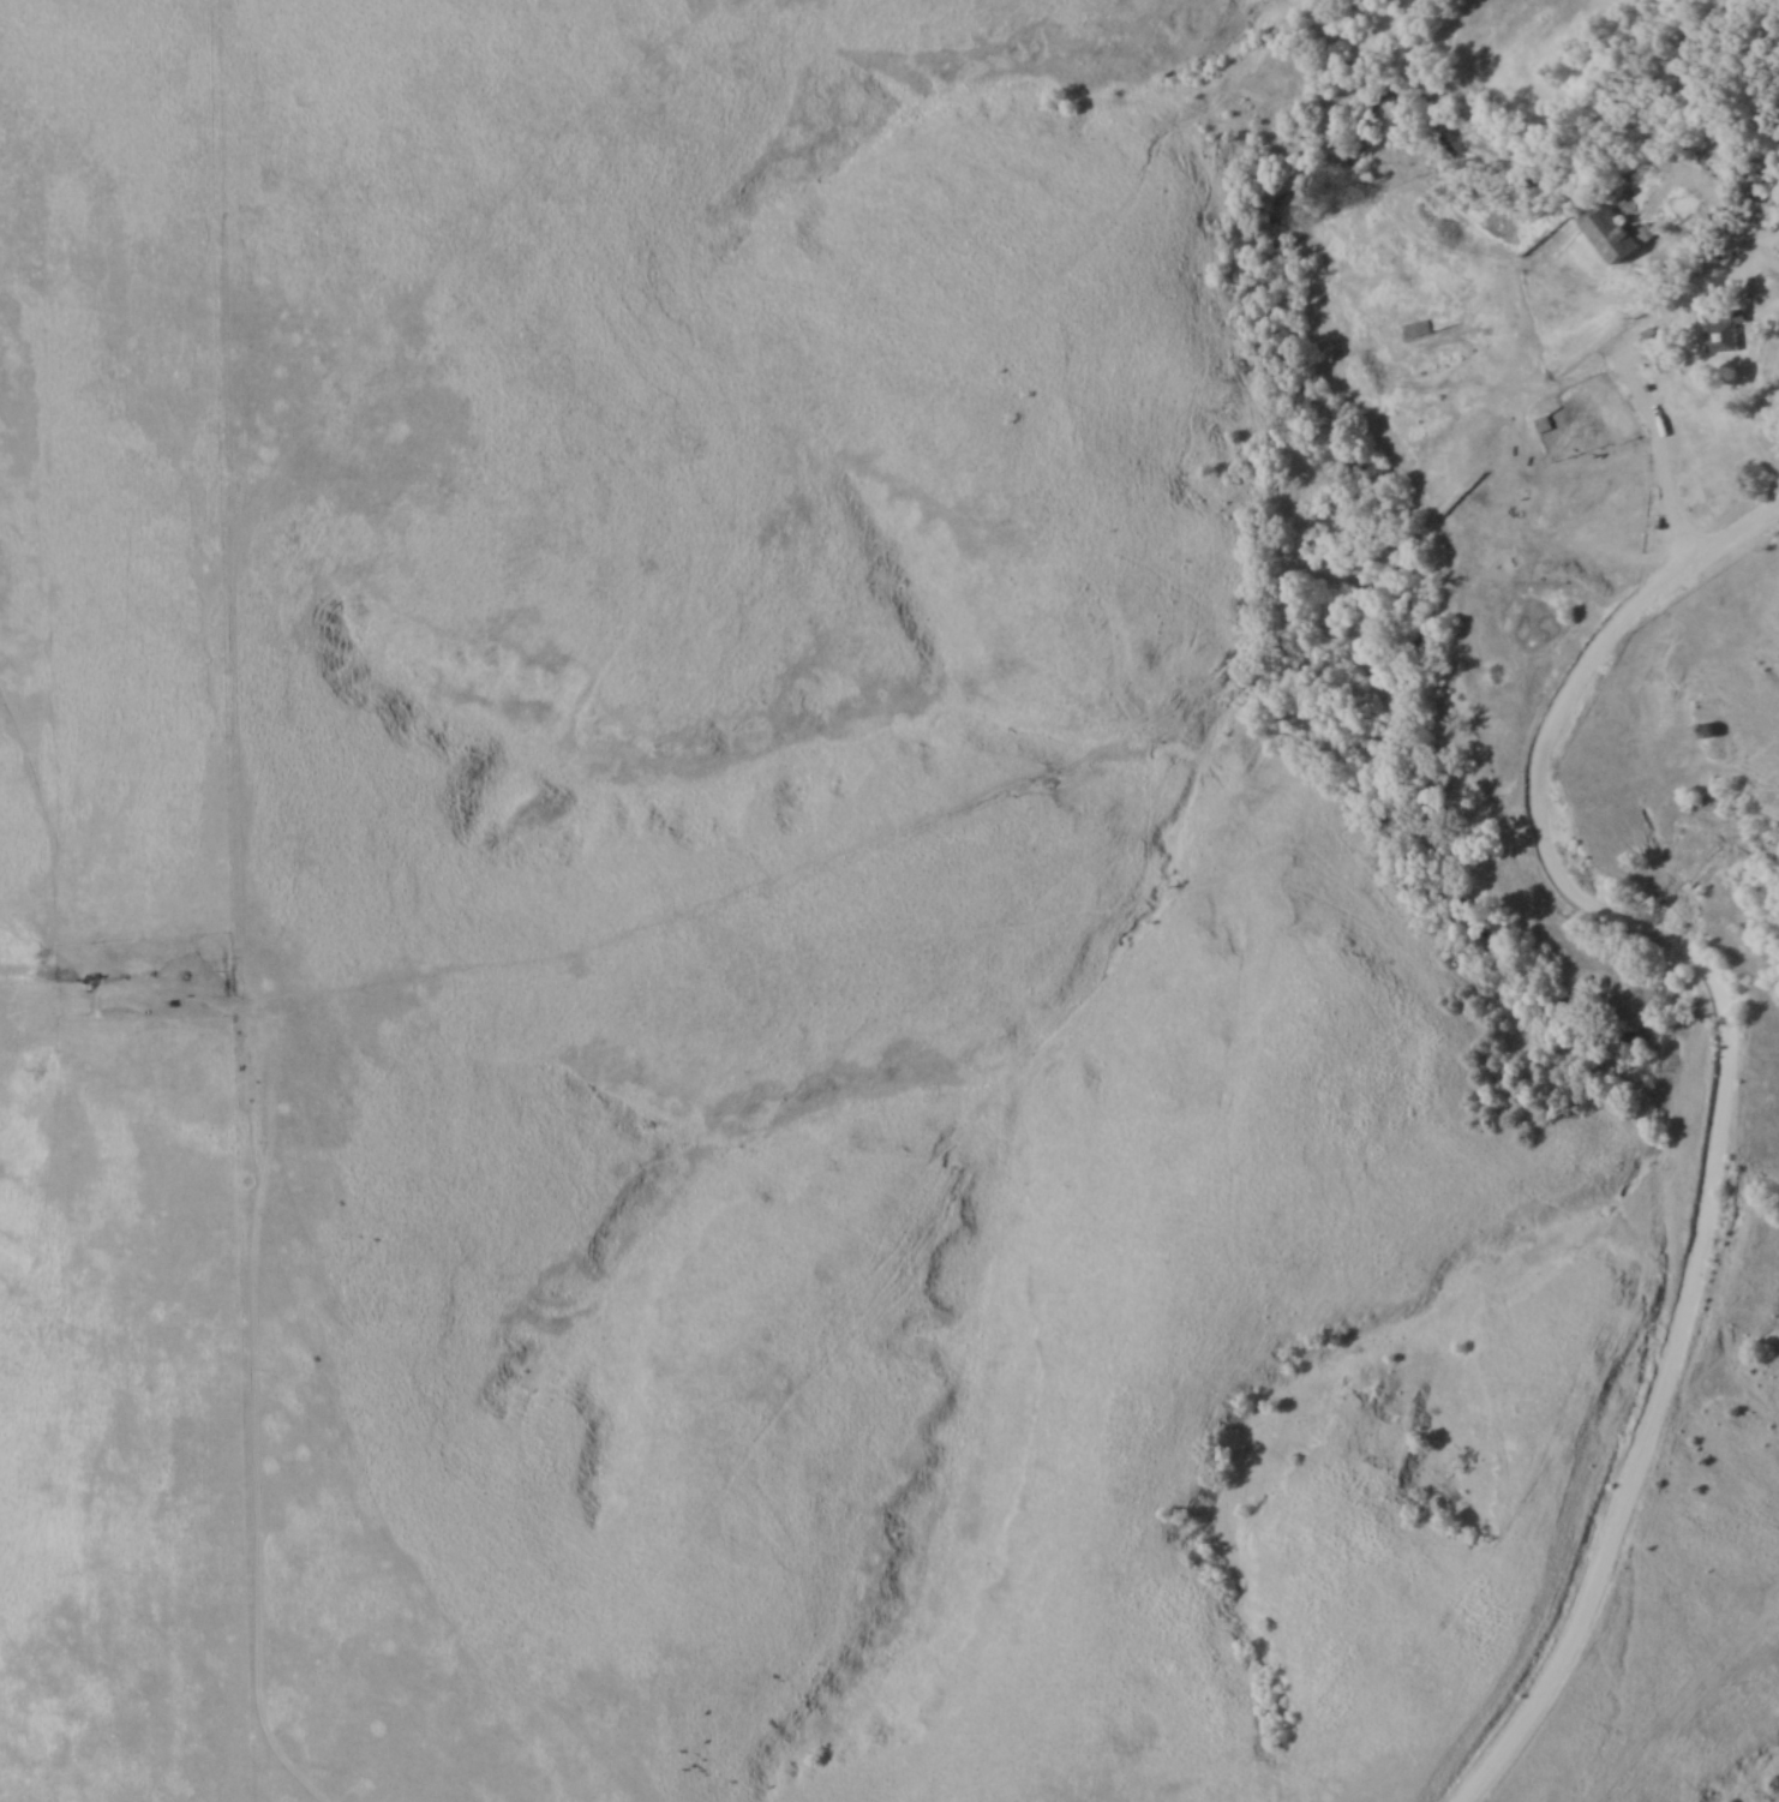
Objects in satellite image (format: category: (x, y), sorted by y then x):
building: (1616, 231)
building: (1418, 328)
building: (1724, 333)
building: (1544, 423)
road: (1667, 456)
road: (1726, 1080)

